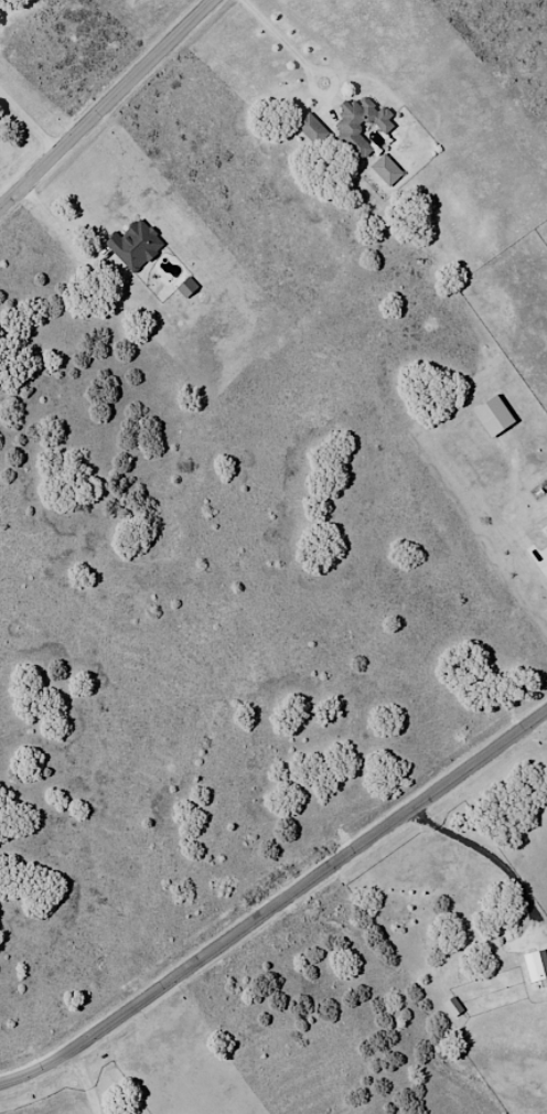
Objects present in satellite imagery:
road: (109, 106)
building: (363, 122)
road: (29, 125)
building: (317, 129)
building: (389, 171)
building: (137, 245)
building: (189, 286)
building: (496, 416)
road: (541, 556)
road: (491, 858)
road: (278, 910)
building: (537, 966)
road: (96, 1083)

